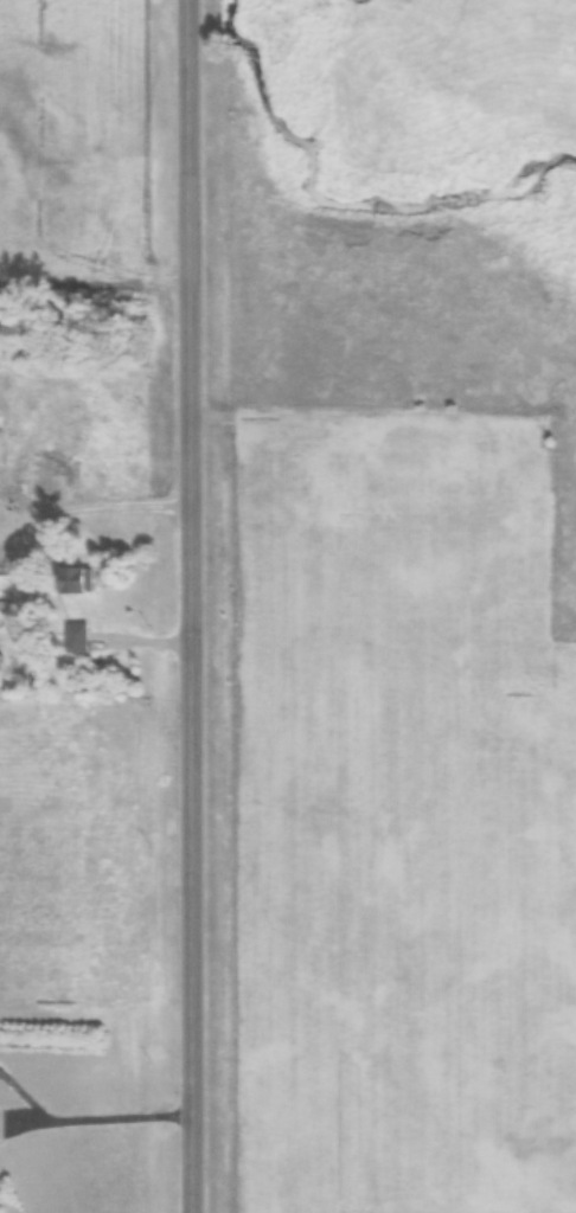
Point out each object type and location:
building: (72, 580)
road: (186, 605)
building: (7, 612)
building: (76, 637)
building: (1, 670)
road: (92, 1117)

